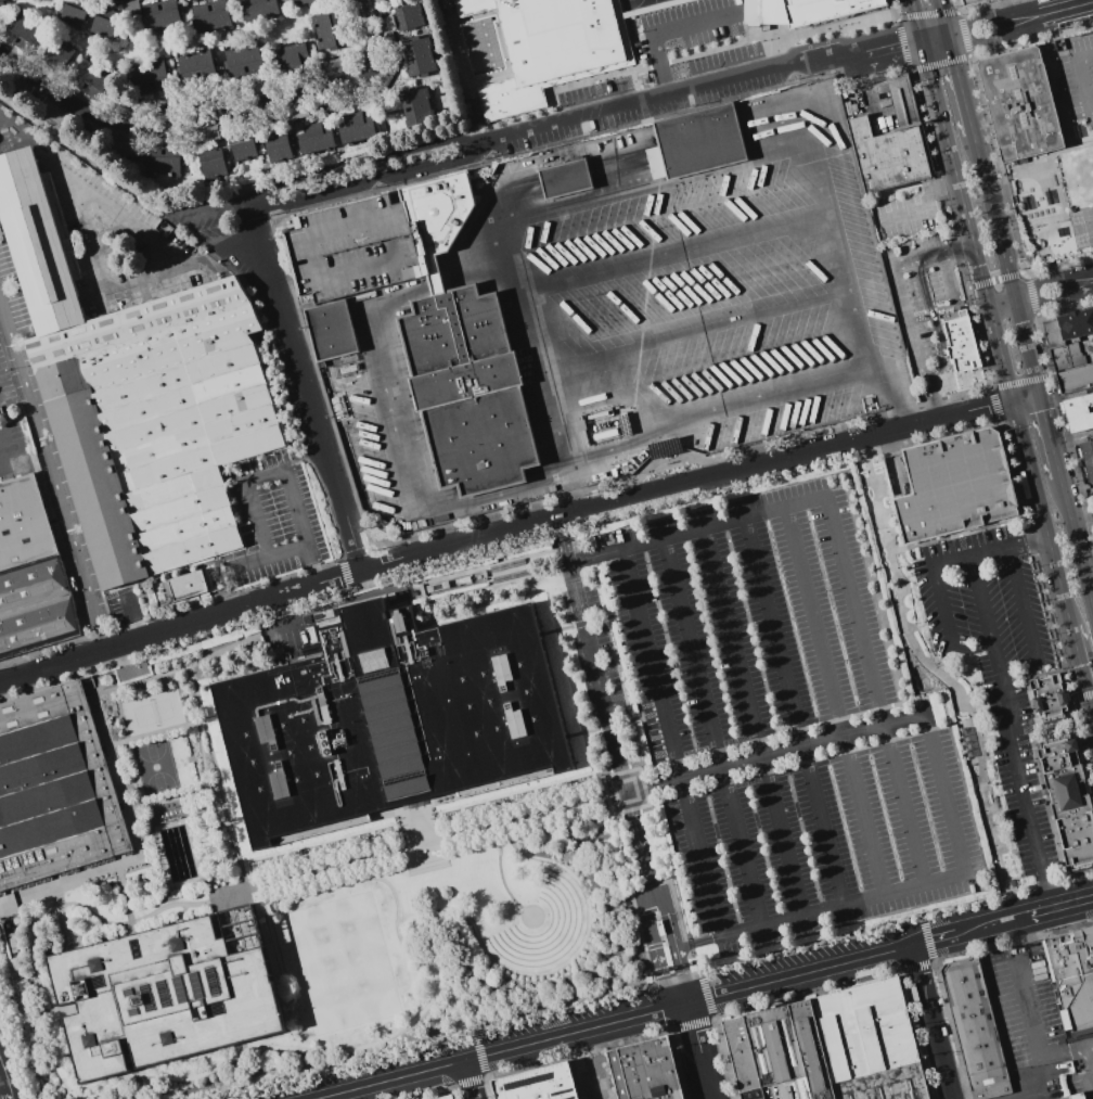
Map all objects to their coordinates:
building: (2, 0)
building: (189, 0)
building: (191, 0)
building: (305, 1)
building: (373, 1)
building: (972, 2)
building: (130, 8)
building: (814, 8)
building: (258, 9)
road: (1065, 9)
building: (75, 13)
building: (162, 14)
road: (941, 14)
building: (210, 16)
building: (408, 16)
road: (990, 16)
road: (916, 21)
building: (103, 22)
building: (329, 29)
traffic signals: (946, 29)
building: (22, 33)
road: (664, 33)
building: (556, 35)
road: (934, 36)
road: (357, 40)
road: (981, 41)
traffic signals: (922, 42)
building: (387, 43)
traffic signals: (950, 49)
building: (57, 56)
building: (291, 56)
building: (419, 56)
building: (244, 59)
building: (196, 66)
building: (336, 66)
building: (150, 76)
building: (89, 78)
building: (381, 81)
road: (959, 81)
road: (1083, 81)
parking lot: (1078, 85)
building: (33, 98)
building: (902, 100)
building: (335, 102)
building: (1020, 104)
building: (416, 107)
building: (291, 113)
road: (586, 115)
road: (788, 124)
building: (356, 127)
road: (176, 130)
building: (205, 133)
road: (28, 138)
building: (314, 139)
building: (698, 141)
road: (699, 144)
building: (278, 145)
building: (121, 148)
building: (244, 151)
building: (887, 156)
road: (57, 161)
building: (164, 162)
building: (214, 164)
road: (623, 165)
road: (955, 175)
building: (564, 181)
road: (564, 181)
road: (920, 205)
road: (215, 210)
road: (992, 212)
road: (497, 216)
road: (544, 221)
park: (1084, 226)
building: (39, 244)
road: (680, 250)
road: (935, 256)
road: (479, 270)
parking lot: (921, 274)
road: (284, 277)
road: (1052, 279)
road: (435, 282)
road: (1000, 298)
parking lot: (717, 299)
road: (1014, 301)
road: (1056, 301)
road: (1003, 309)
road: (930, 321)
building: (1067, 323)
building: (428, 324)
road: (909, 324)
building: (331, 331)
road: (700, 331)
road: (378, 338)
building: (956, 341)
road: (1001, 354)
road: (1027, 354)
building: (1066, 356)
road: (850, 378)
building: (1075, 378)
road: (308, 387)
road: (893, 395)
road: (1066, 395)
traffic signals: (1039, 396)
road: (1026, 398)
road: (934, 399)
traffic signals: (1014, 401)
building: (1078, 412)
building: (156, 425)
road: (1071, 434)
road: (1049, 436)
building: (663, 448)
building: (1085, 451)
road: (1, 470)
road: (53, 476)
road: (265, 476)
building: (954, 486)
road: (492, 496)
road: (1042, 514)
road: (1081, 515)
building: (24, 527)
road: (696, 528)
road: (504, 534)
road: (1028, 541)
road: (1076, 544)
road: (969, 557)
road: (485, 566)
road: (222, 570)
road: (403, 571)
road: (1088, 572)
road: (487, 587)
building: (180, 588)
building: (36, 606)
road: (414, 614)
road: (130, 616)
road: (283, 619)
road: (590, 622)
road: (1027, 624)
parking lot: (283, 635)
road: (972, 644)
road: (591, 656)
parking lot: (998, 662)
road: (90, 665)
road: (181, 668)
building: (132, 672)
road: (1081, 672)
road: (113, 675)
road: (946, 677)
park: (943, 680)
road: (97, 683)
road: (874, 690)
road: (941, 693)
road: (625, 694)
building: (1047, 699)
road: (833, 701)
road: (793, 711)
park: (153, 713)
traffic signals: (1092, 716)
building: (389, 717)
road: (963, 720)
road: (751, 721)
parking lot: (783, 721)
road: (616, 724)
road: (1051, 726)
road: (939, 727)
road: (163, 731)
road: (710, 732)
road: (994, 739)
road: (670, 742)
road: (774, 752)
road: (202, 756)
road: (641, 764)
park: (156, 767)
road: (1017, 774)
road: (219, 778)
building: (54, 789)
road: (942, 794)
road: (175, 797)
building: (1068, 802)
road: (144, 805)
road: (434, 805)
road: (236, 821)
road: (417, 832)
road: (636, 836)
road: (138, 844)
road: (422, 845)
road: (625, 862)
road: (119, 871)
park: (339, 873)
road: (501, 880)
road: (650, 889)
road: (391, 891)
road: (12, 903)
road: (1053, 908)
road: (128, 909)
road: (10, 910)
road: (819, 911)
road: (179, 918)
road: (63, 919)
road: (668, 919)
road: (110, 922)
building: (659, 928)
road: (963, 932)
flagpole: (609, 953)
road: (654, 955)
park: (342, 963)
road: (557, 970)
road: (682, 976)
building: (1072, 979)
building: (167, 994)
road: (1026, 1014)
road: (616, 1023)
road: (930, 1023)
road: (403, 1026)
building: (976, 1030)
parking lot: (1038, 1030)
building: (833, 1048)
road: (1090, 1048)
road: (699, 1051)
road: (308, 1060)
road: (1090, 1062)
road: (5, 1070)
building: (645, 1071)
road: (468, 1081)
road: (312, 1084)
building: (538, 1084)
road: (114, 1086)
road: (1031, 1089)
road: (12, 1096)
building: (446, 1097)
building: (1080, 1097)

